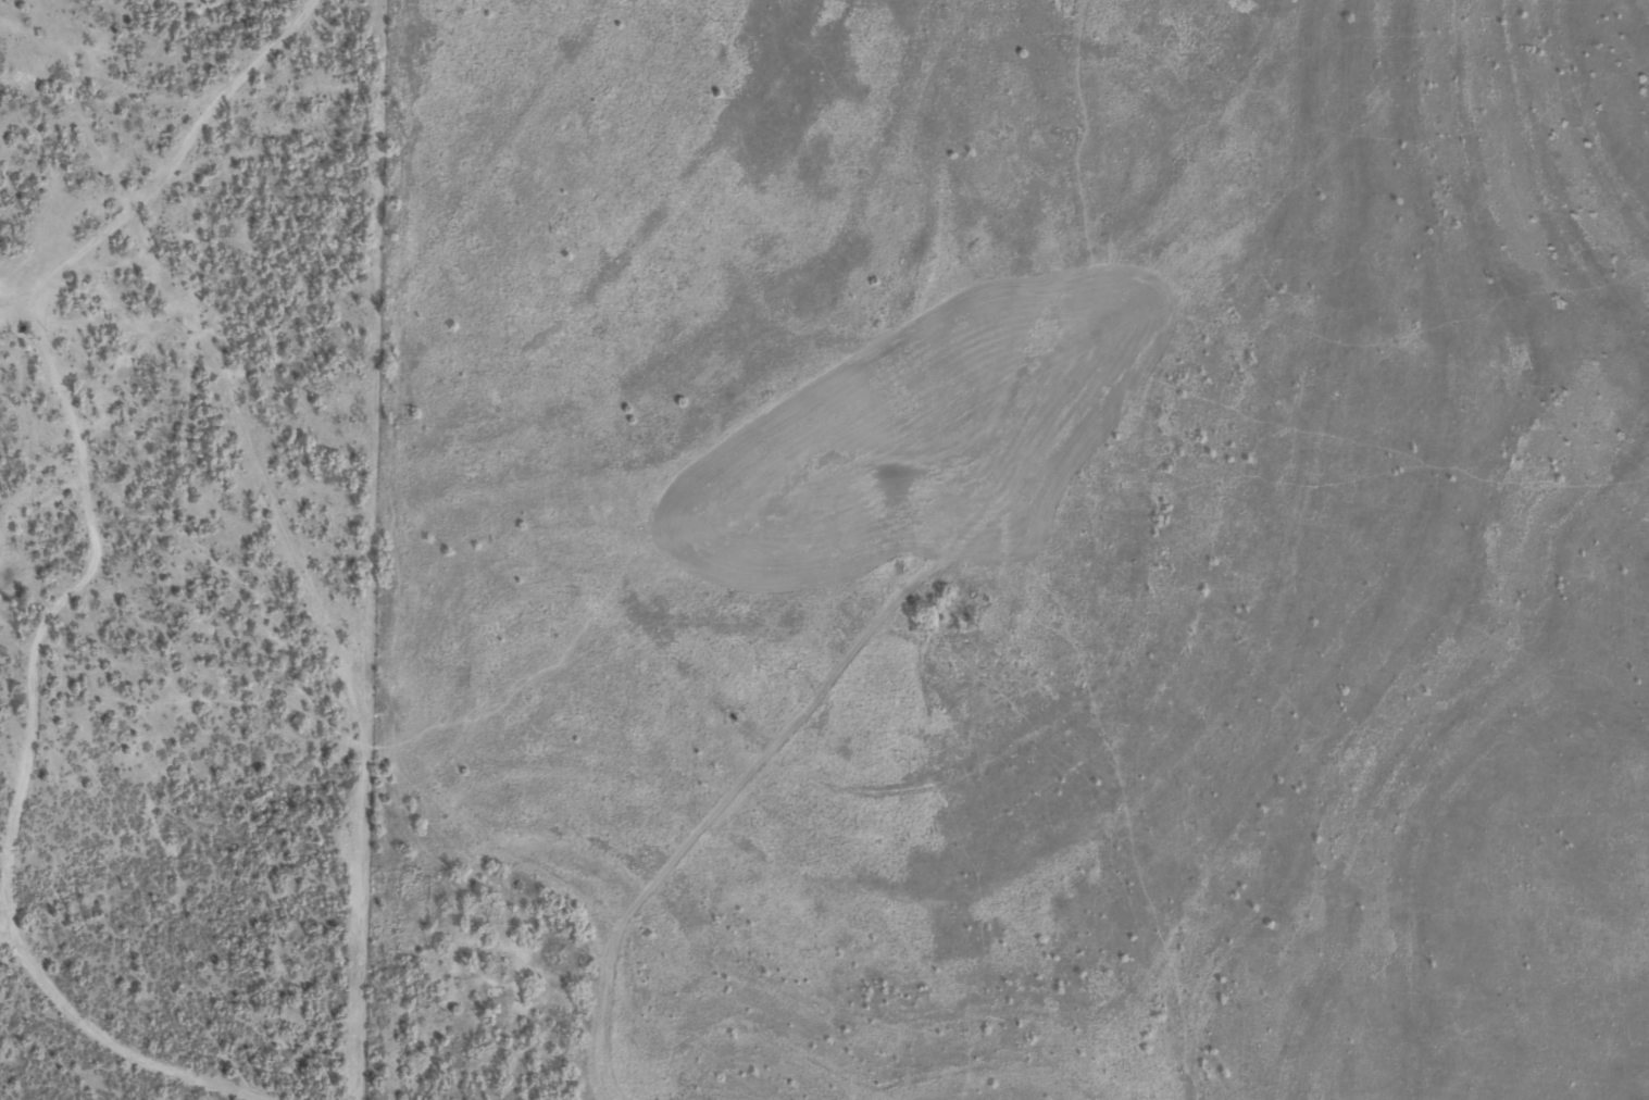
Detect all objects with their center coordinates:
road: (63, 592)
road: (124, 996)

